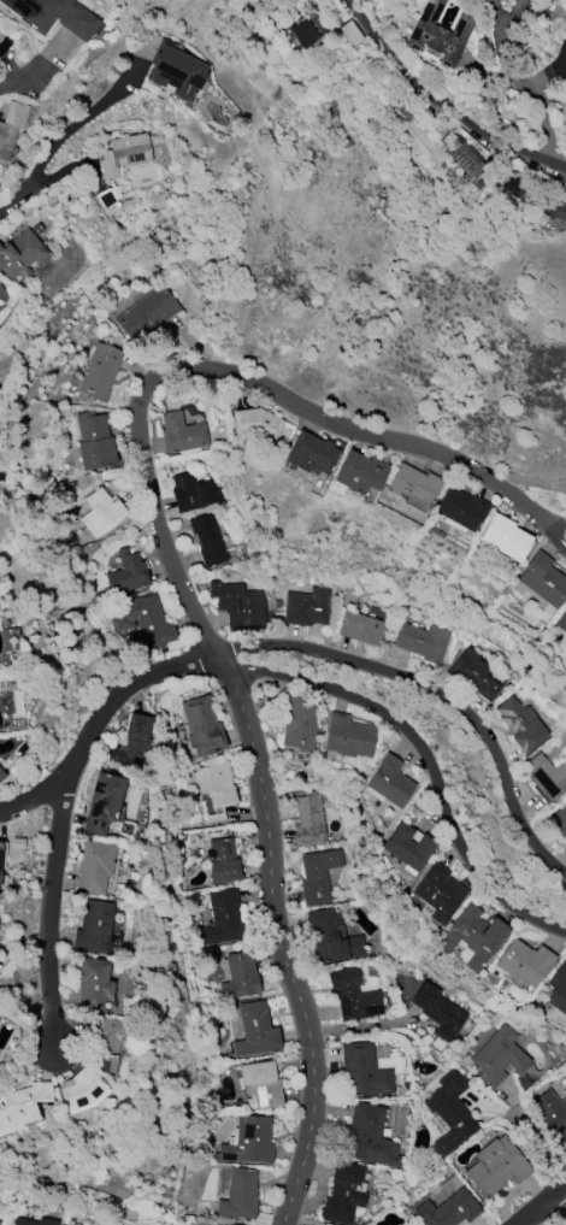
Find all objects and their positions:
building: (54, 16)
road: (500, 24)
building: (302, 33)
building: (441, 33)
road: (565, 64)
road: (565, 67)
building: (177, 71)
road: (549, 76)
road: (20, 77)
road: (537, 96)
road: (452, 104)
building: (11, 125)
road: (72, 128)
building: (134, 153)
building: (466, 158)
building: (520, 192)
road: (17, 198)
building: (549, 208)
building: (20, 253)
building: (0, 284)
building: (147, 314)
building: (100, 371)
building: (255, 425)
road: (341, 426)
building: (181, 434)
building: (94, 441)
building: (311, 454)
building: (360, 472)
building: (412, 485)
building: (191, 491)
building: (460, 508)
building: (100, 512)
road: (546, 517)
road: (154, 520)
road: (546, 528)
building: (503, 537)
building: (207, 540)
building: (126, 573)
building: (541, 581)
building: (237, 606)
building: (307, 607)
building: (142, 620)
building: (561, 622)
building: (360, 629)
building: (423, 642)
building: (478, 675)
road: (436, 693)
road: (96, 719)
building: (521, 724)
building: (300, 725)
building: (202, 726)
building: (348, 736)
building: (132, 746)
road: (425, 755)
building: (1, 776)
building: (547, 777)
building: (389, 782)
building: (216, 784)
building: (102, 803)
building: (308, 820)
building: (560, 821)
building: (409, 848)
building: (1, 855)
building: (223, 861)
building: (95, 867)
building: (317, 876)
building: (440, 893)
road: (49, 897)
building: (222, 919)
building: (94, 927)
building: (332, 937)
building: (473, 937)
road: (277, 941)
building: (524, 962)
building: (238, 977)
building: (93, 983)
building: (558, 989)
building: (353, 996)
building: (438, 1012)
building: (255, 1030)
building: (107, 1041)
building: (499, 1058)
building: (364, 1072)
building: (261, 1084)
building: (82, 1091)
building: (22, 1107)
building: (449, 1113)
building: (552, 1114)
building: (367, 1138)
building: (249, 1142)
road: (541, 1148)
building: (496, 1167)
building: (343, 1194)
building: (238, 1195)
road: (541, 1203)
road: (558, 1207)
building: (448, 1209)
building: (18, 1220)
building: (220, 1224)

